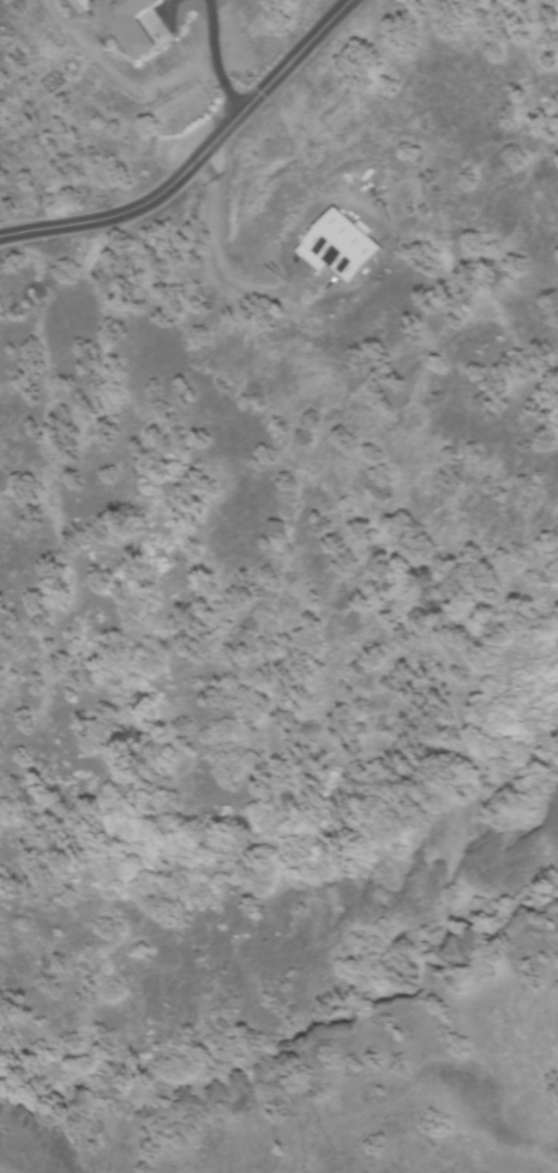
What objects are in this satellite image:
road: (203, 26)
building: (124, 29)
road: (112, 85)
road: (198, 161)
building: (338, 261)
road: (208, 269)

